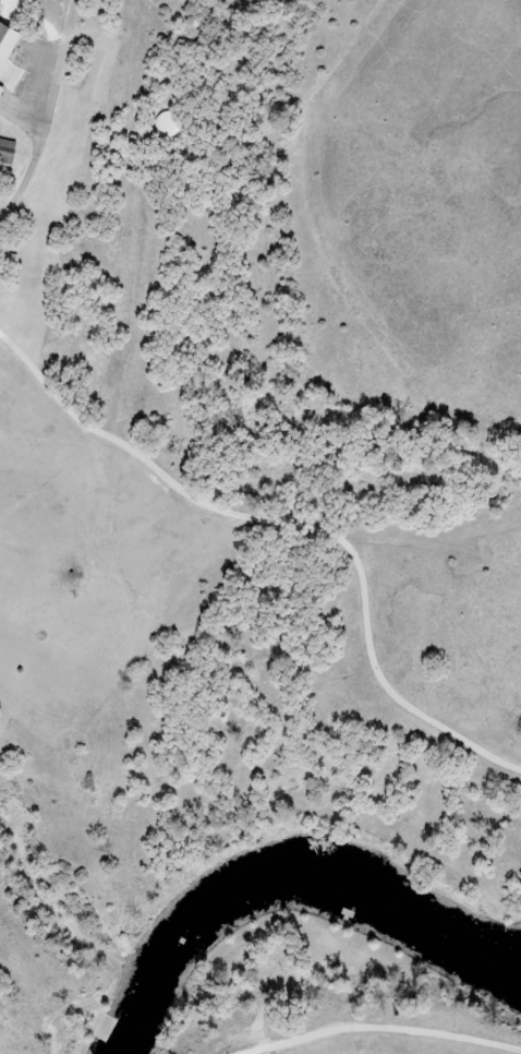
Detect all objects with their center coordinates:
road: (48, 115)

